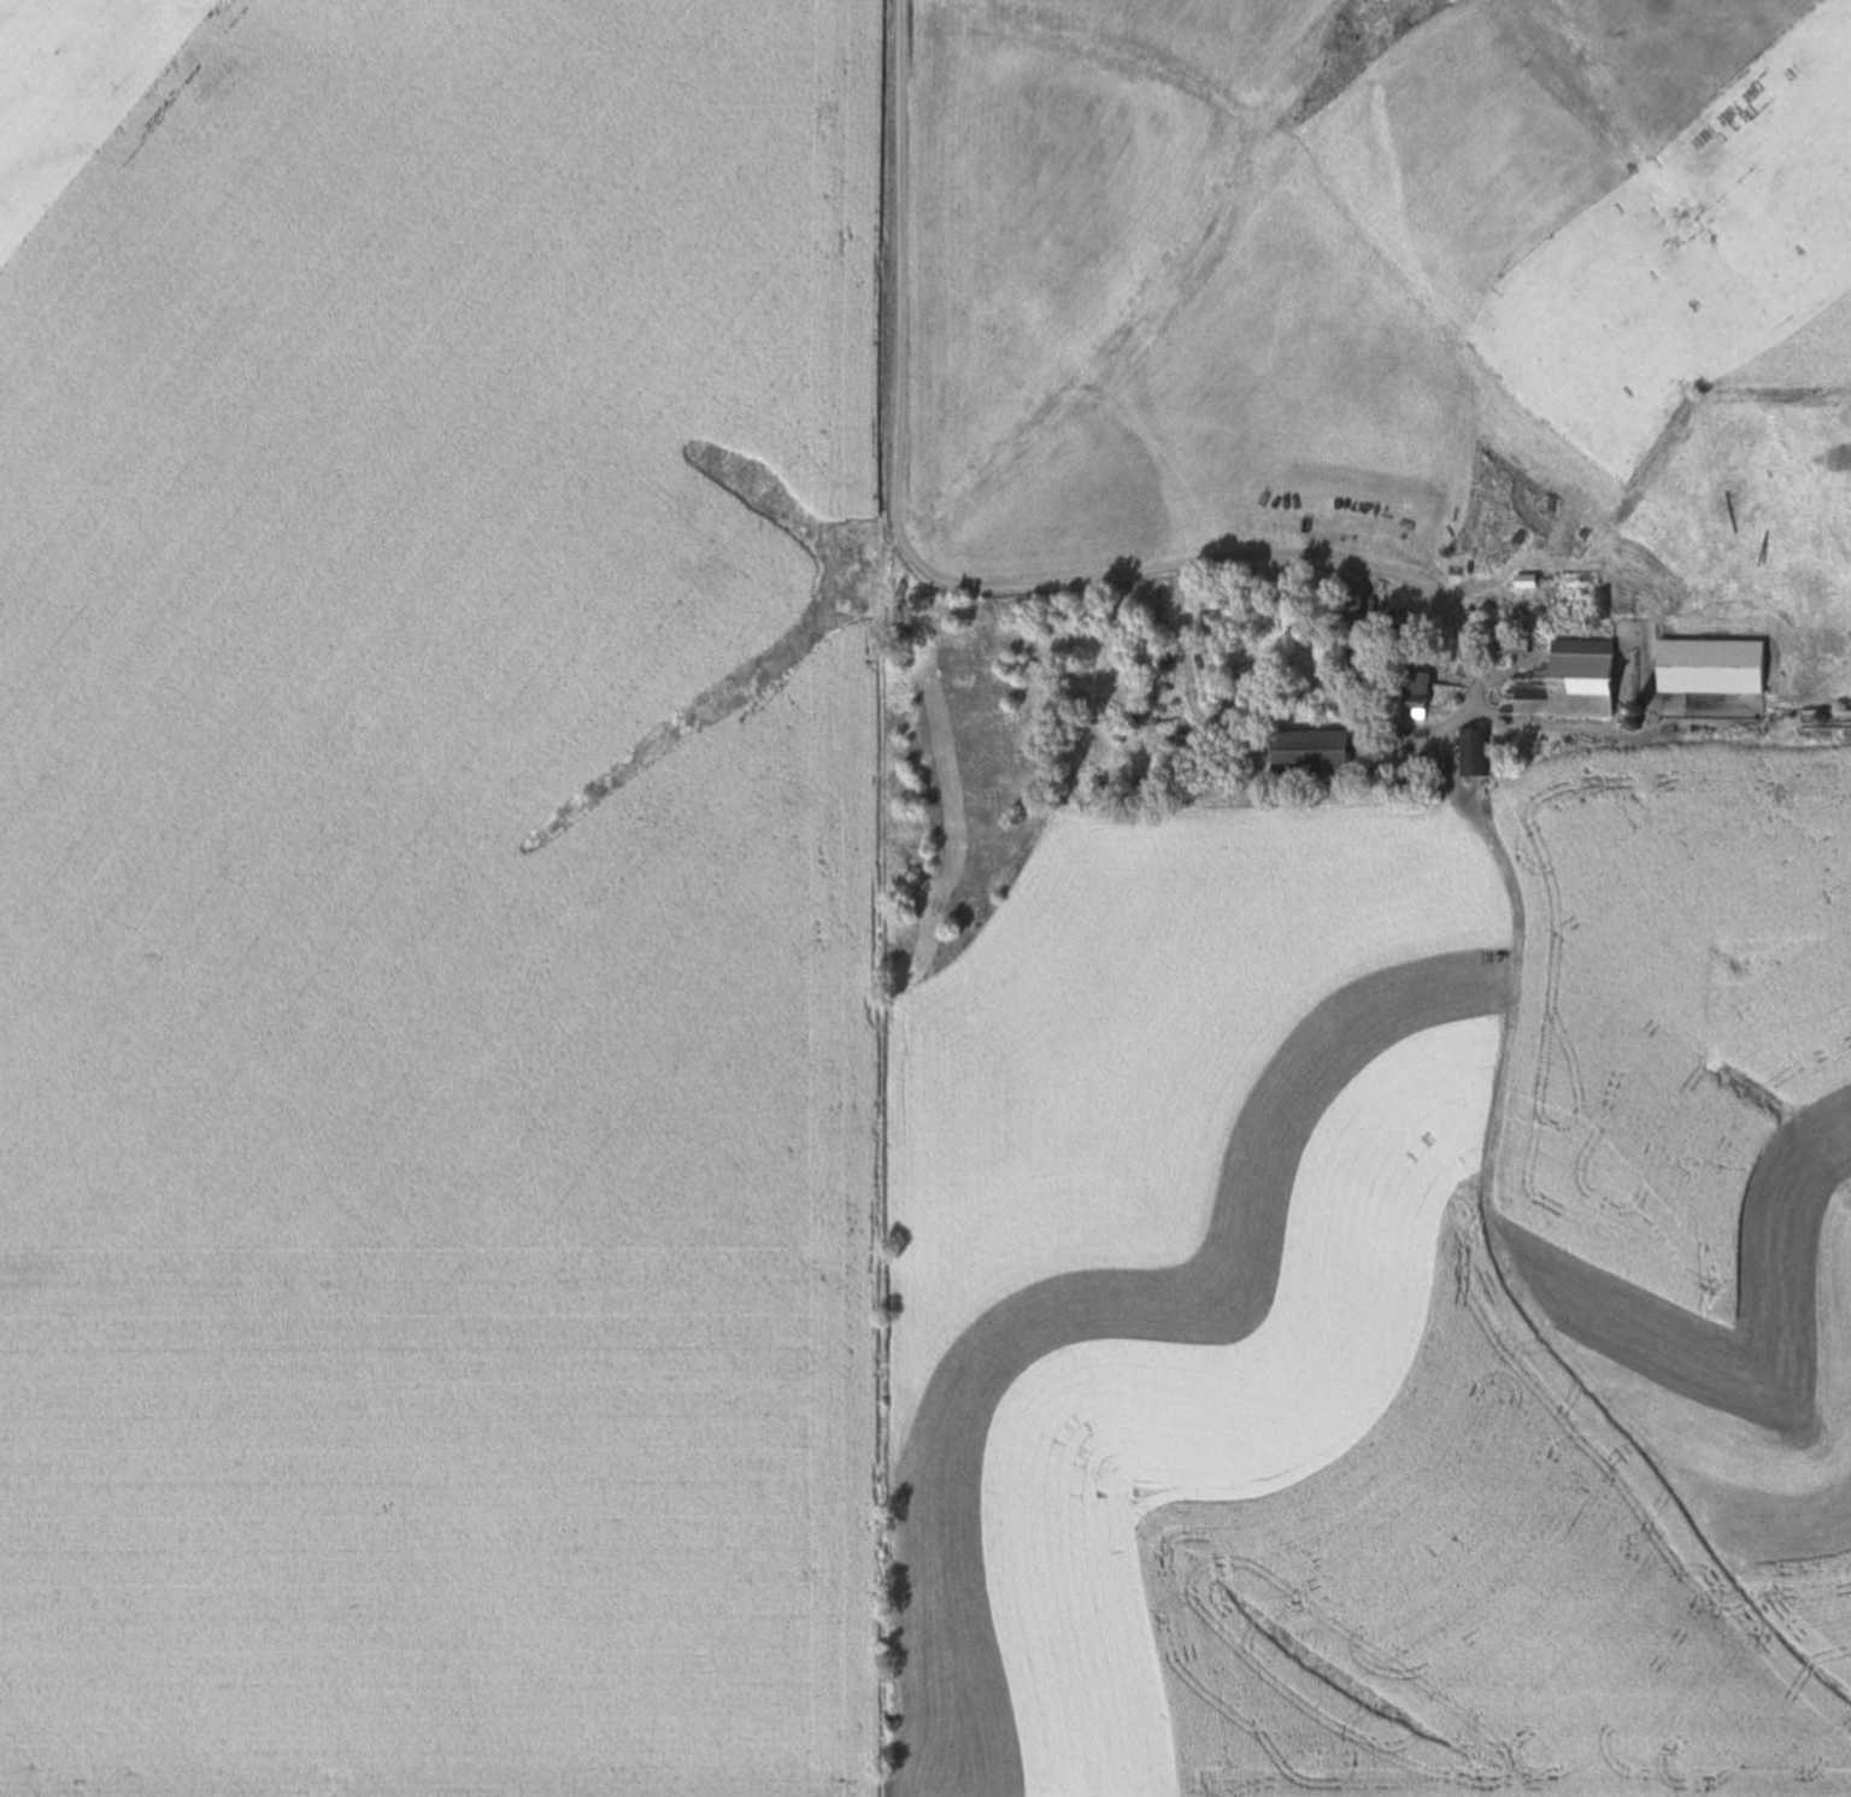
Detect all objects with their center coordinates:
building: (1576, 581)
road: (958, 585)
building: (1712, 666)
building: (1575, 682)
building: (1417, 706)
building: (1311, 751)
building: (1479, 752)

